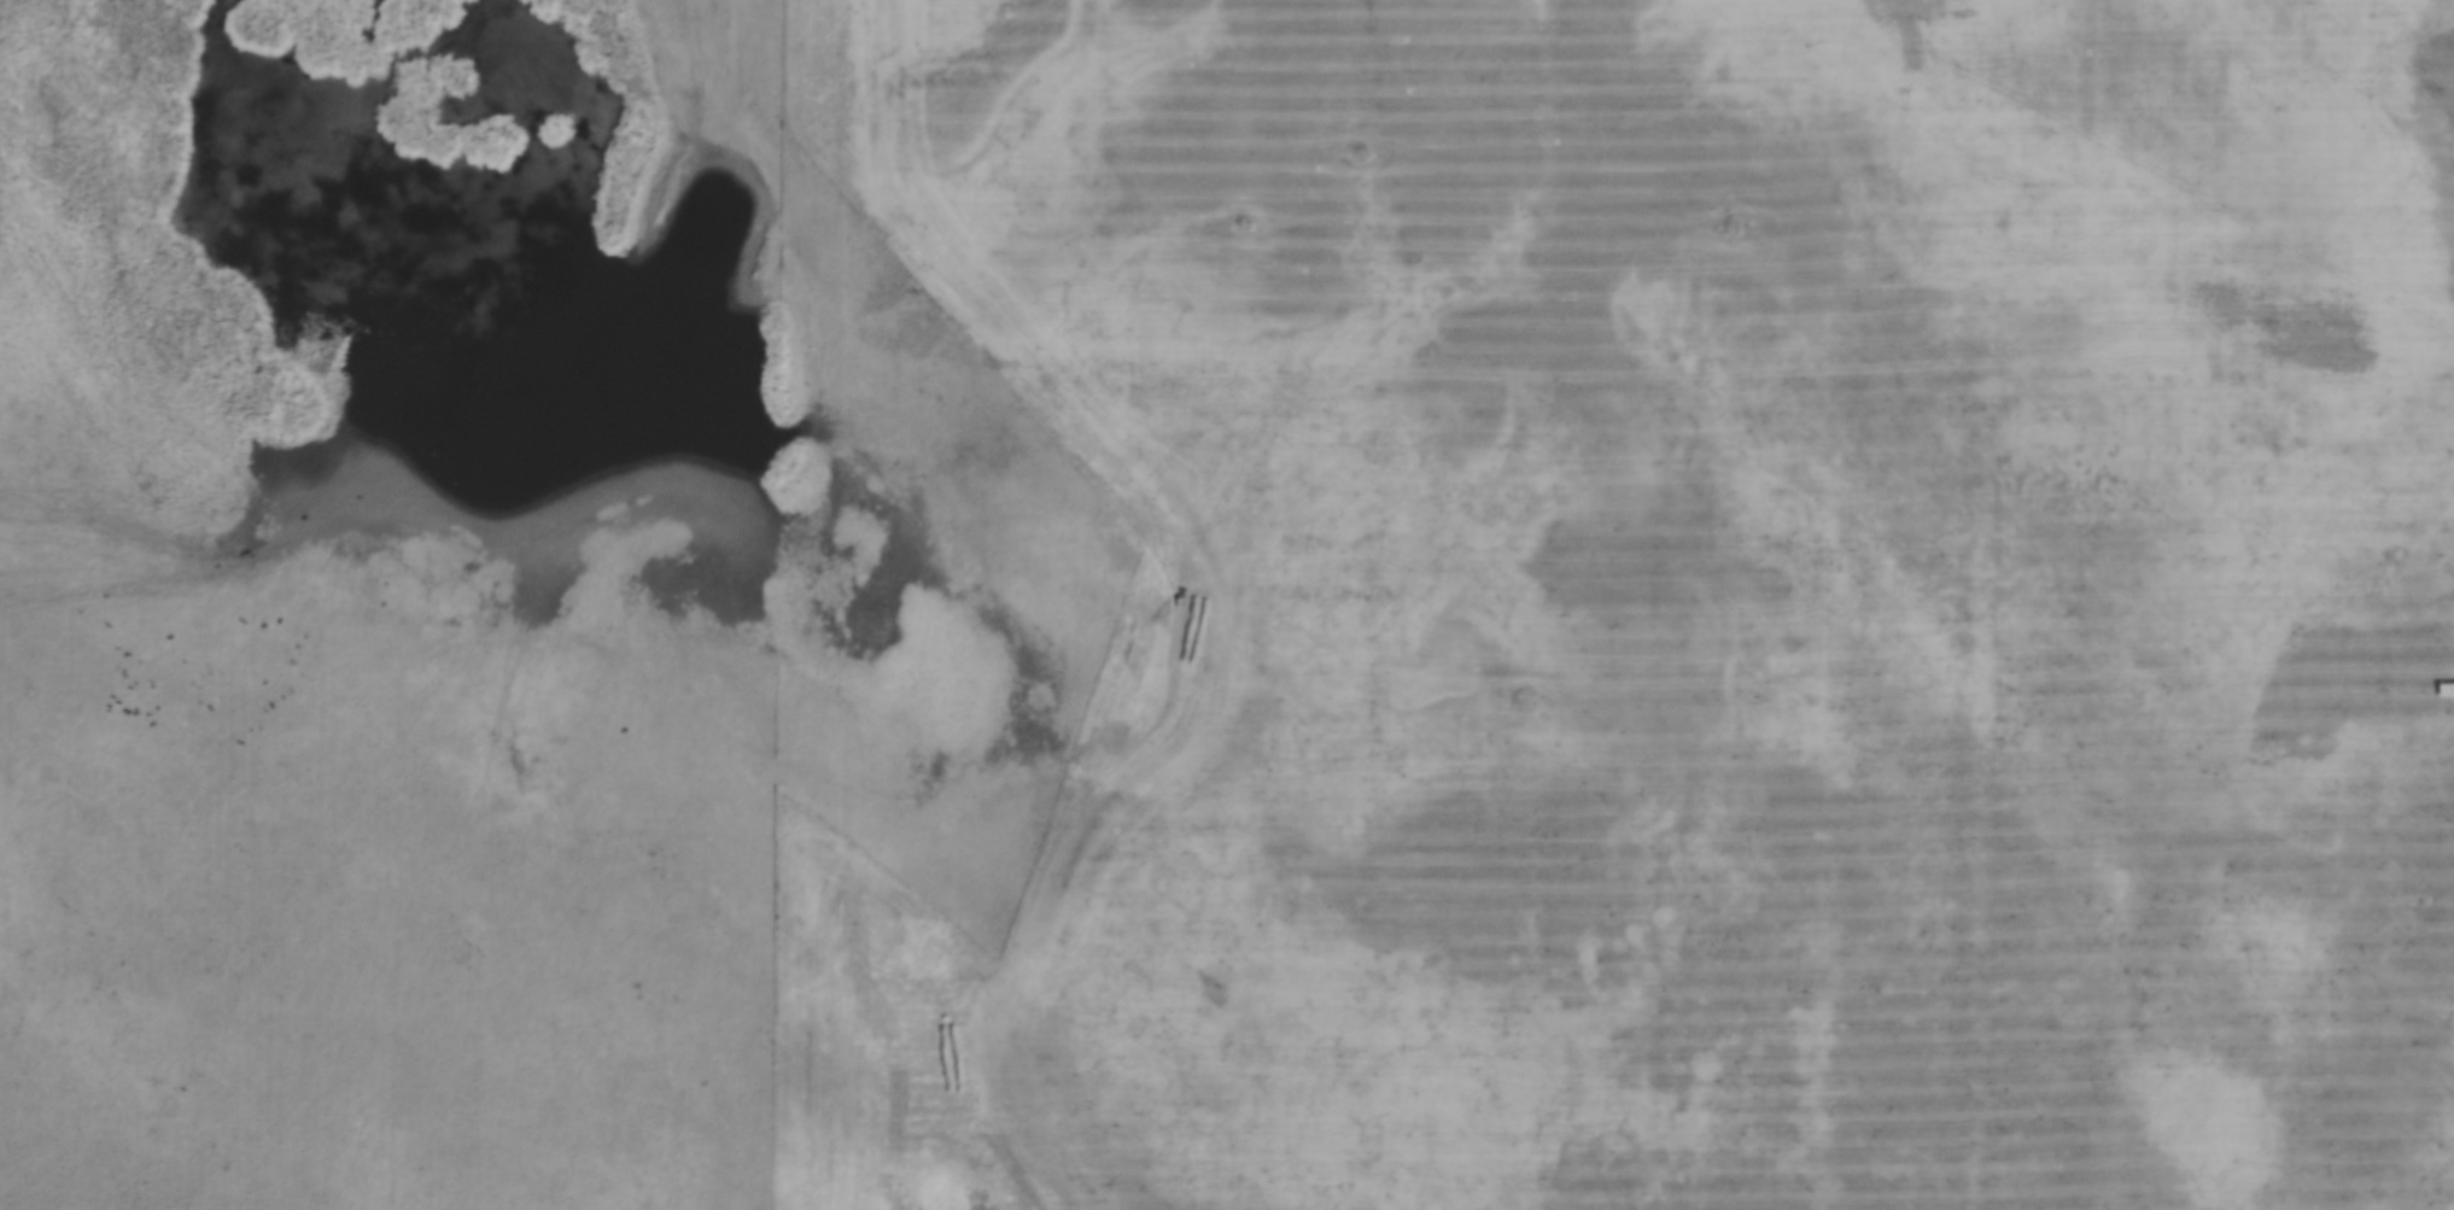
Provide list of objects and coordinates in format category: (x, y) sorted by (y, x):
building: (1926, 625)

